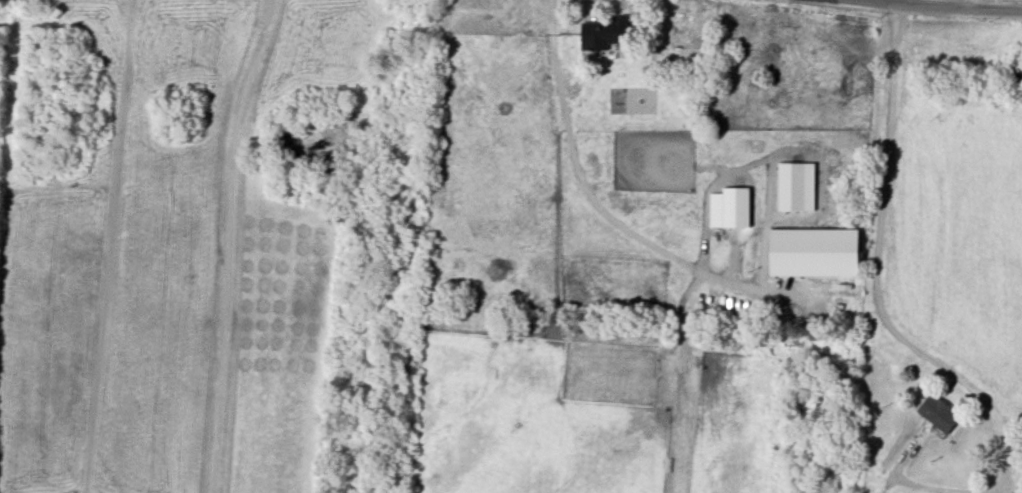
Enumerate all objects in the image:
road: (848, 1)
road: (975, 4)
road: (920, 5)
building: (603, 34)
road: (589, 196)
road: (229, 243)
road: (108, 246)
road: (875, 275)
building: (938, 415)
road: (916, 484)

